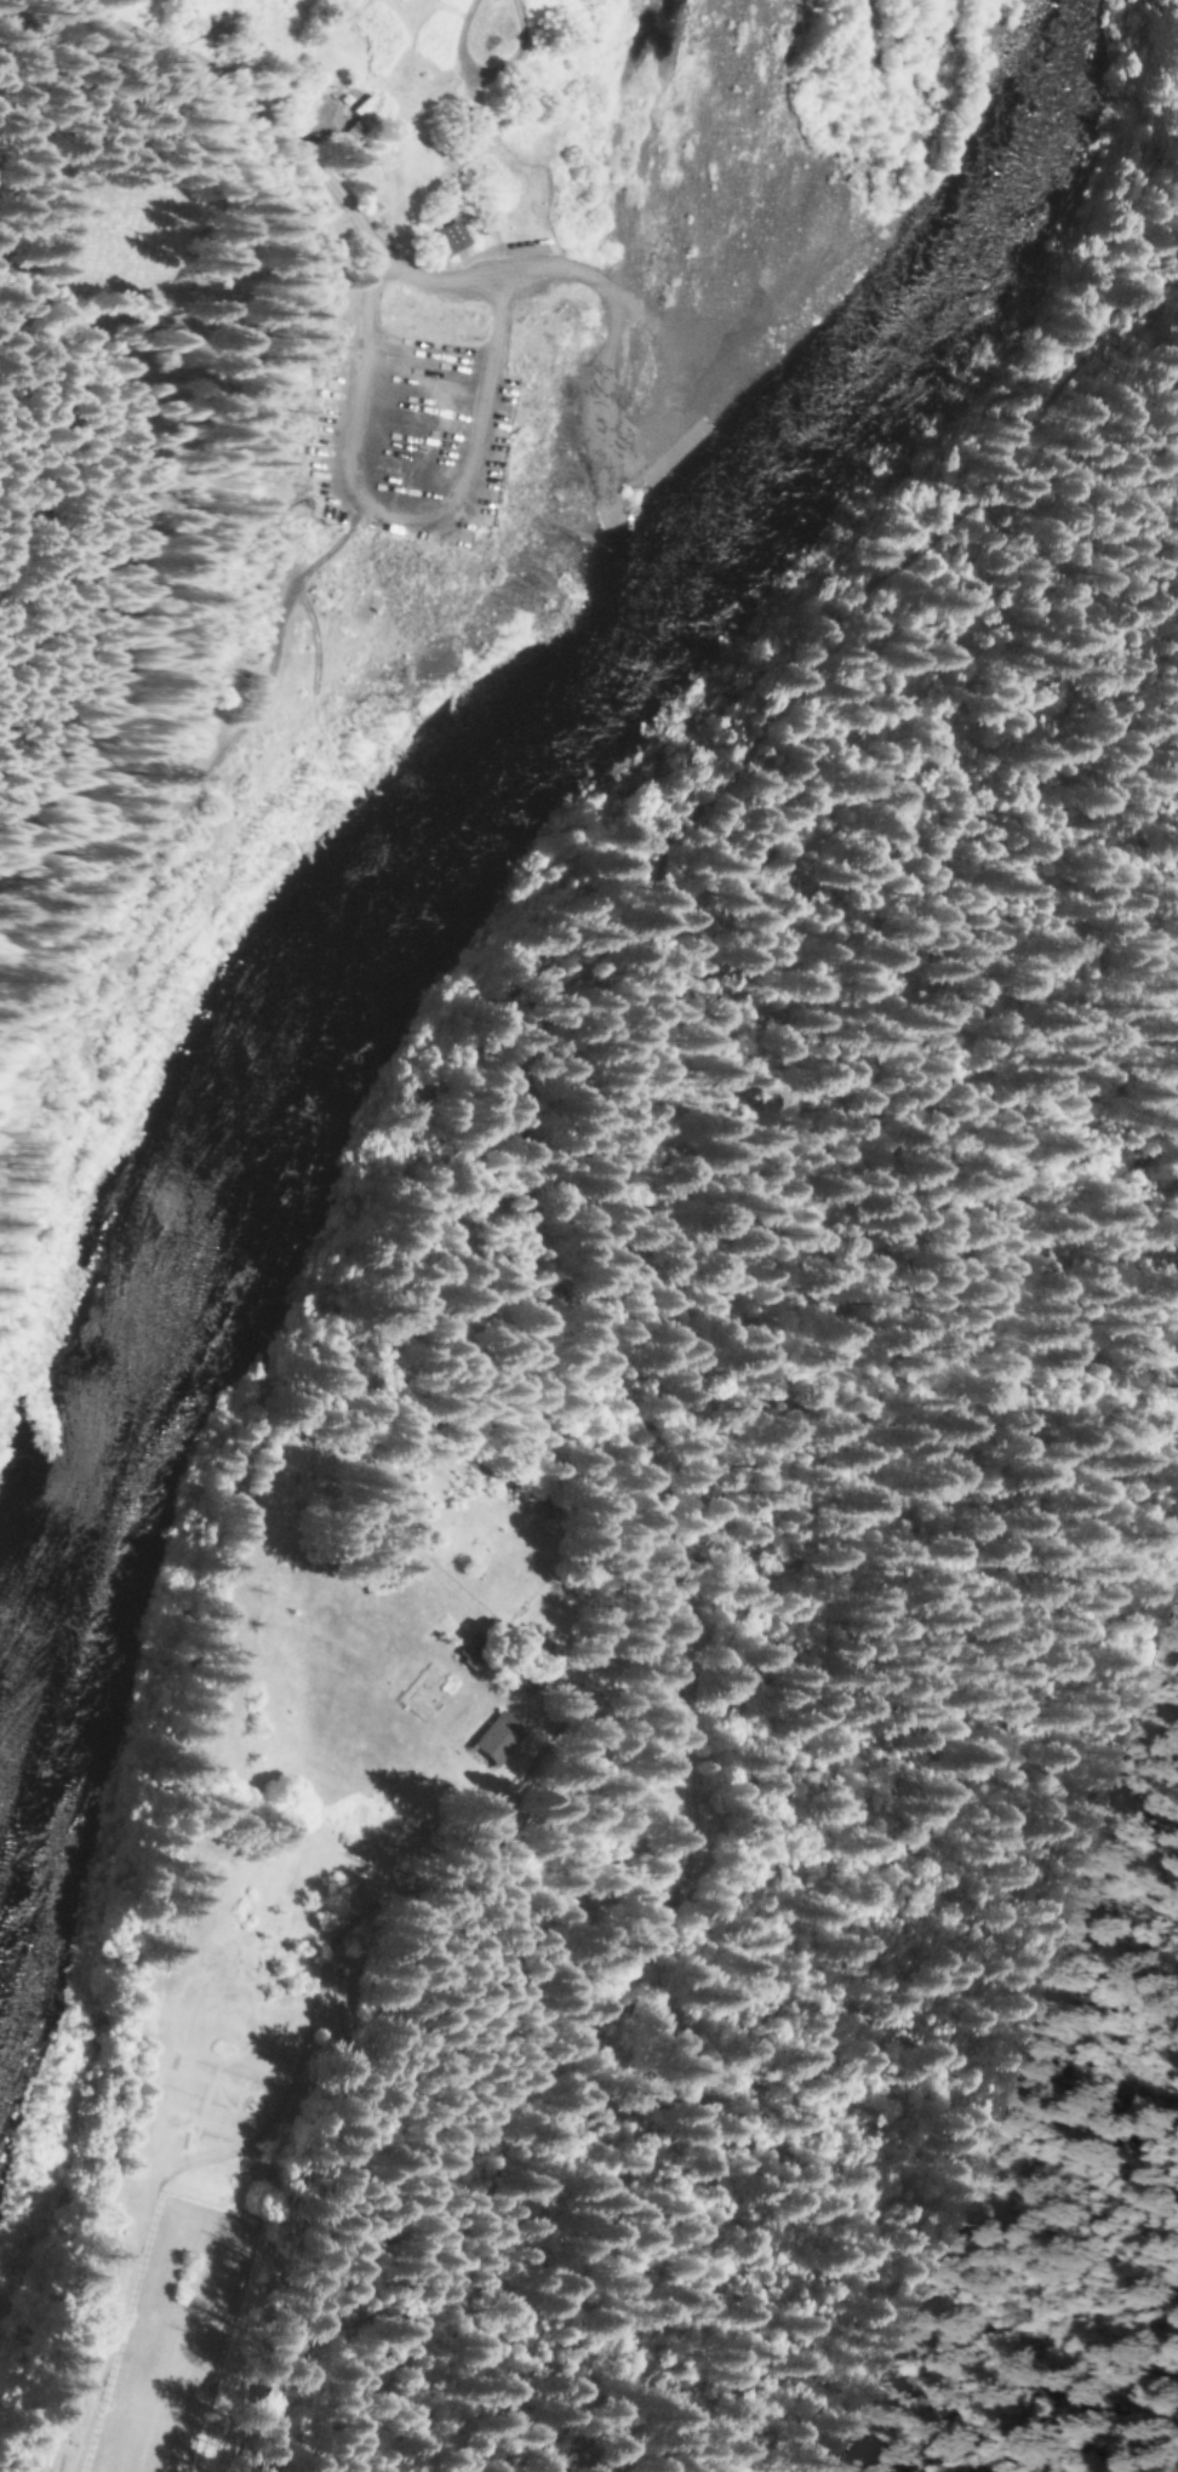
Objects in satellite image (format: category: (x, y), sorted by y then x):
road: (486, 75)
building: (360, 107)
building: (348, 133)
road: (327, 200)
building: (441, 236)
road: (637, 425)
parking lot: (399, 440)
road: (659, 440)
road: (597, 471)
road: (396, 502)
road: (178, 813)
river: (445, 852)

